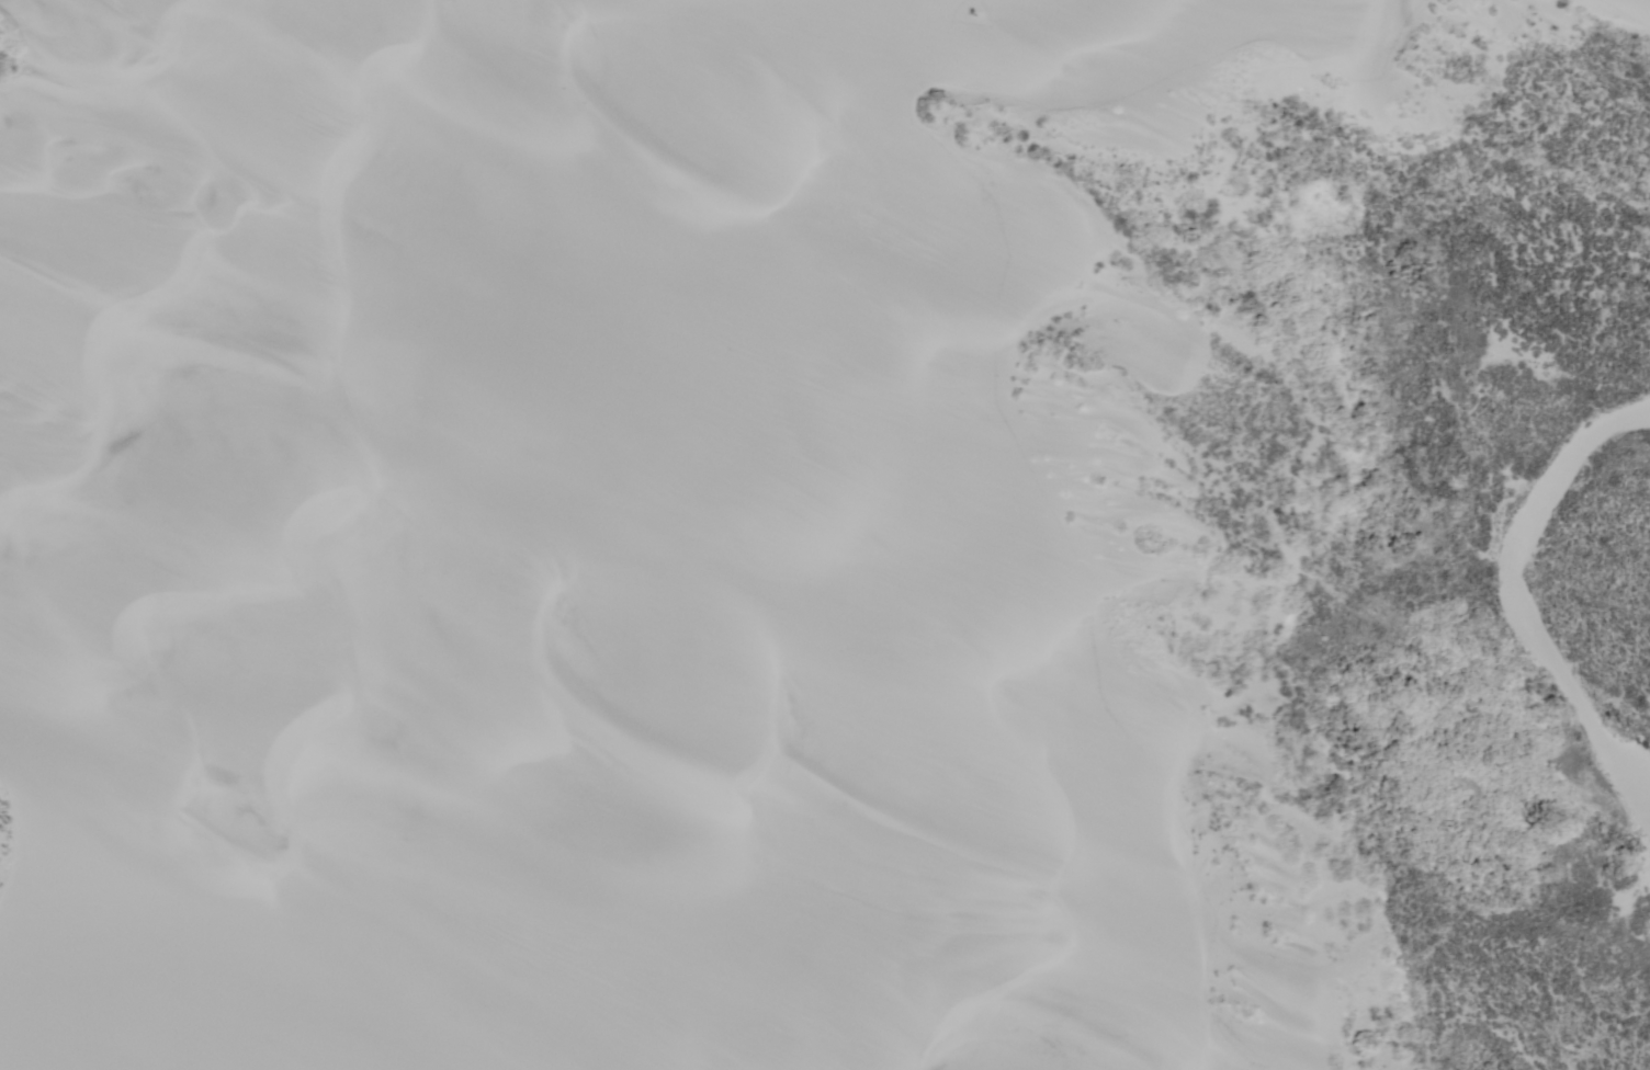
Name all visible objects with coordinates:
park: (818, 532)
road: (799, 536)

